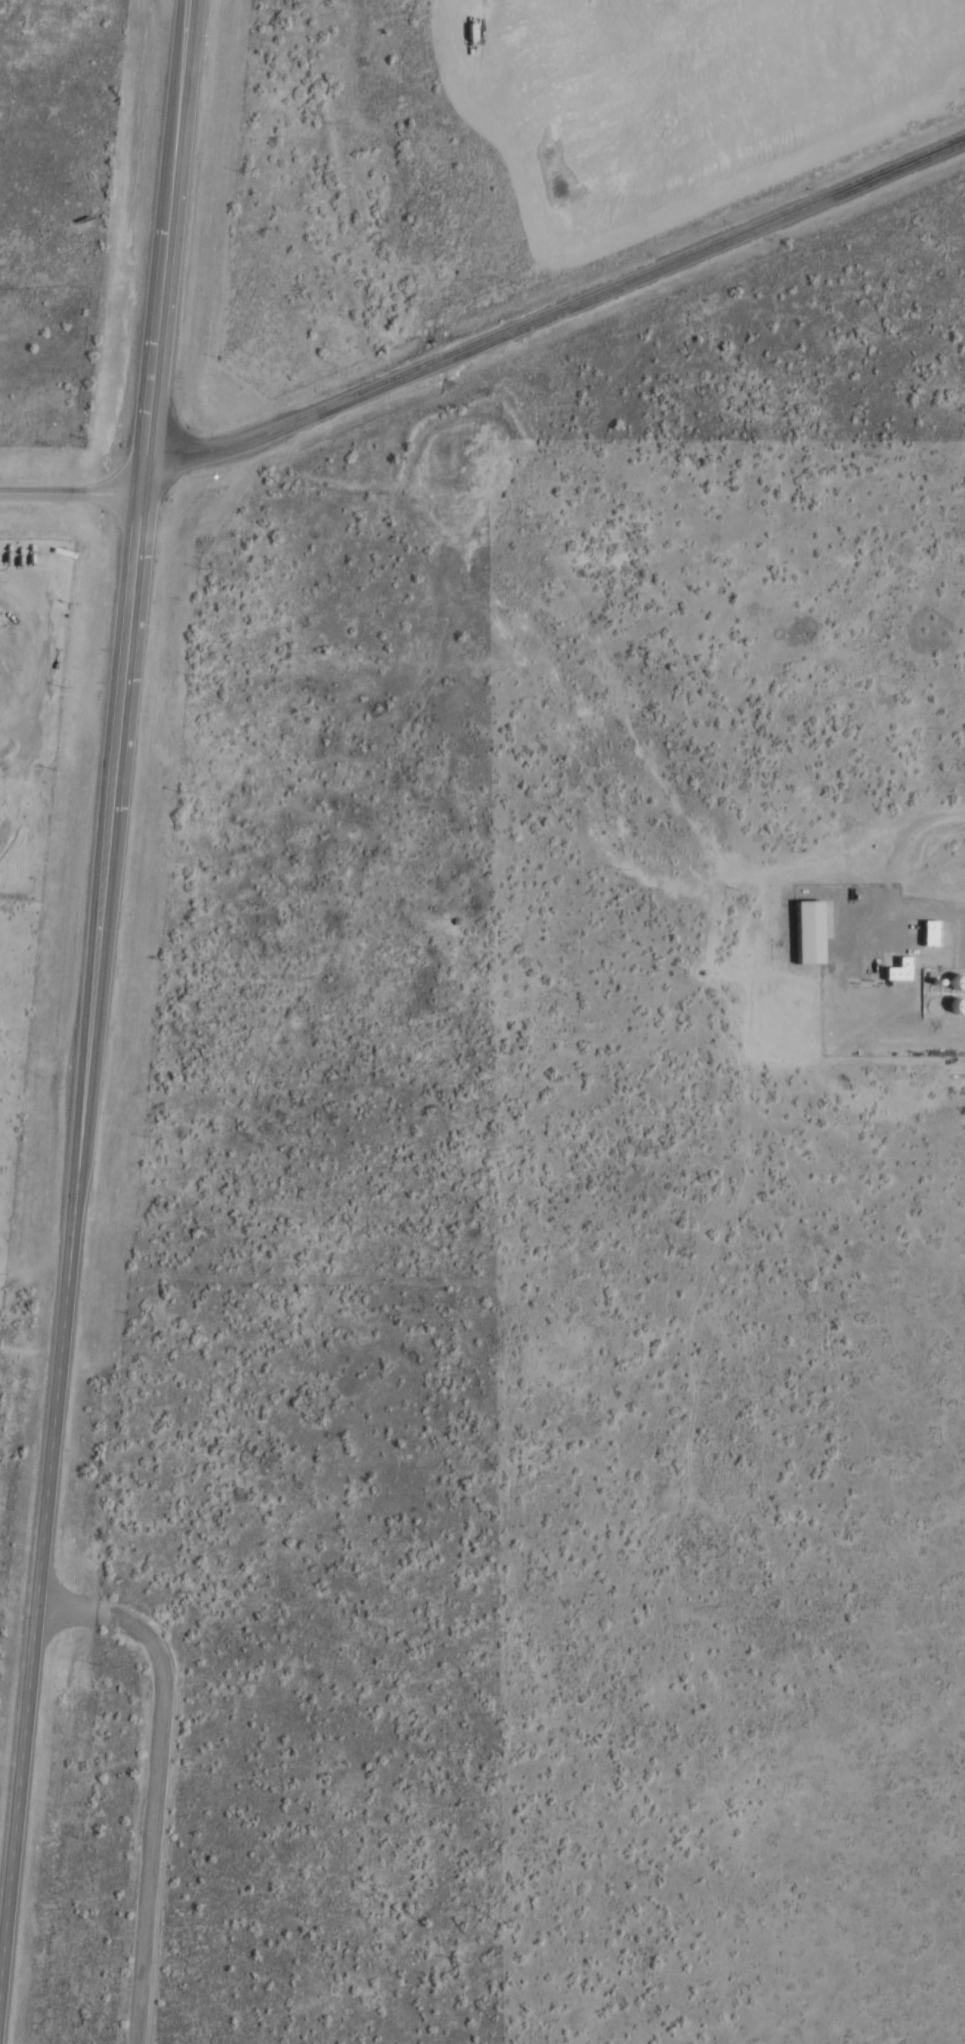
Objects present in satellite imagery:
road: (559, 311)
road: (71, 494)
building: (808, 934)
building: (929, 935)
building: (898, 972)
road: (94, 986)

